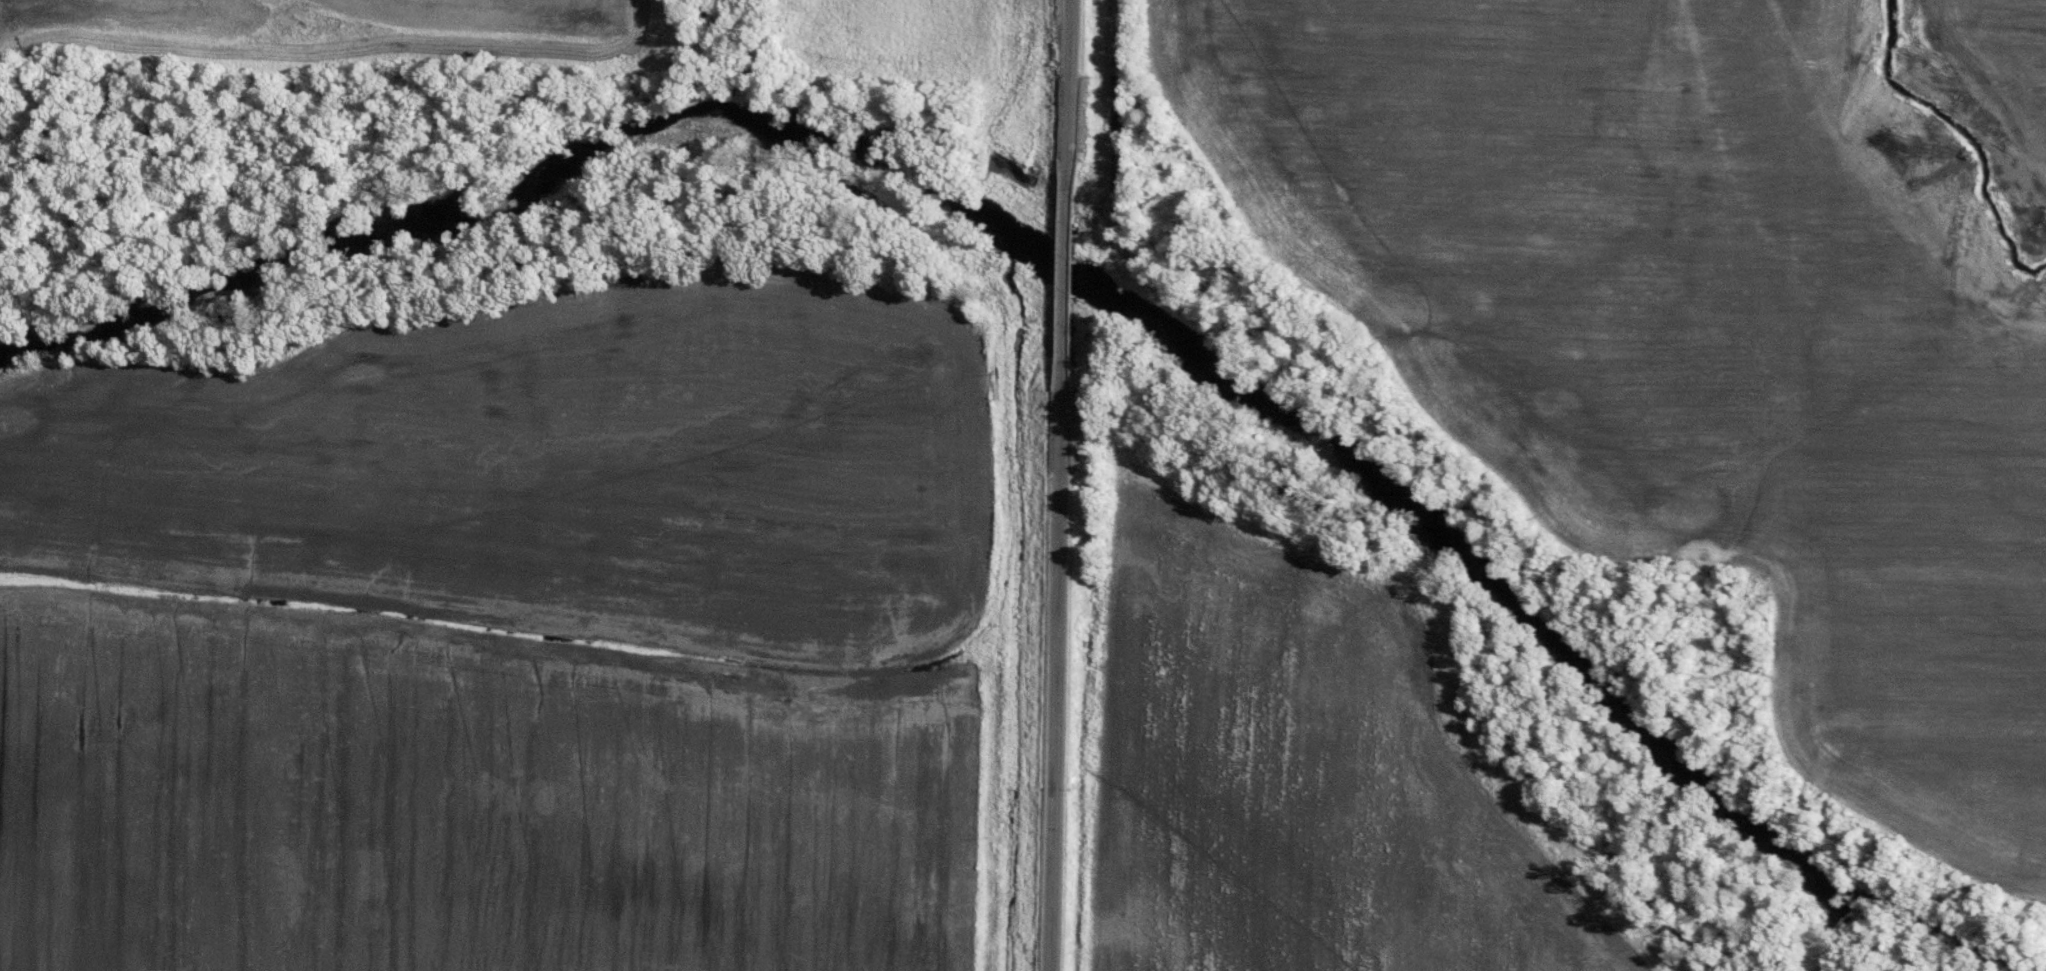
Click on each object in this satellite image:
road: (1069, 85)
river: (738, 121)
road: (1063, 278)
road: (1057, 678)
river: (1617, 708)

